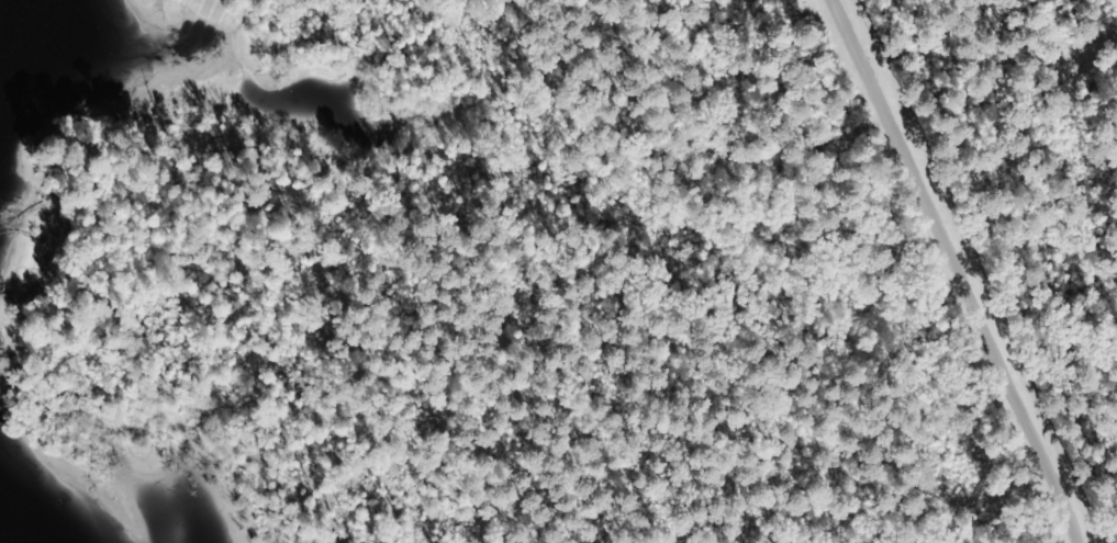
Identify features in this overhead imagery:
road: (957, 270)

